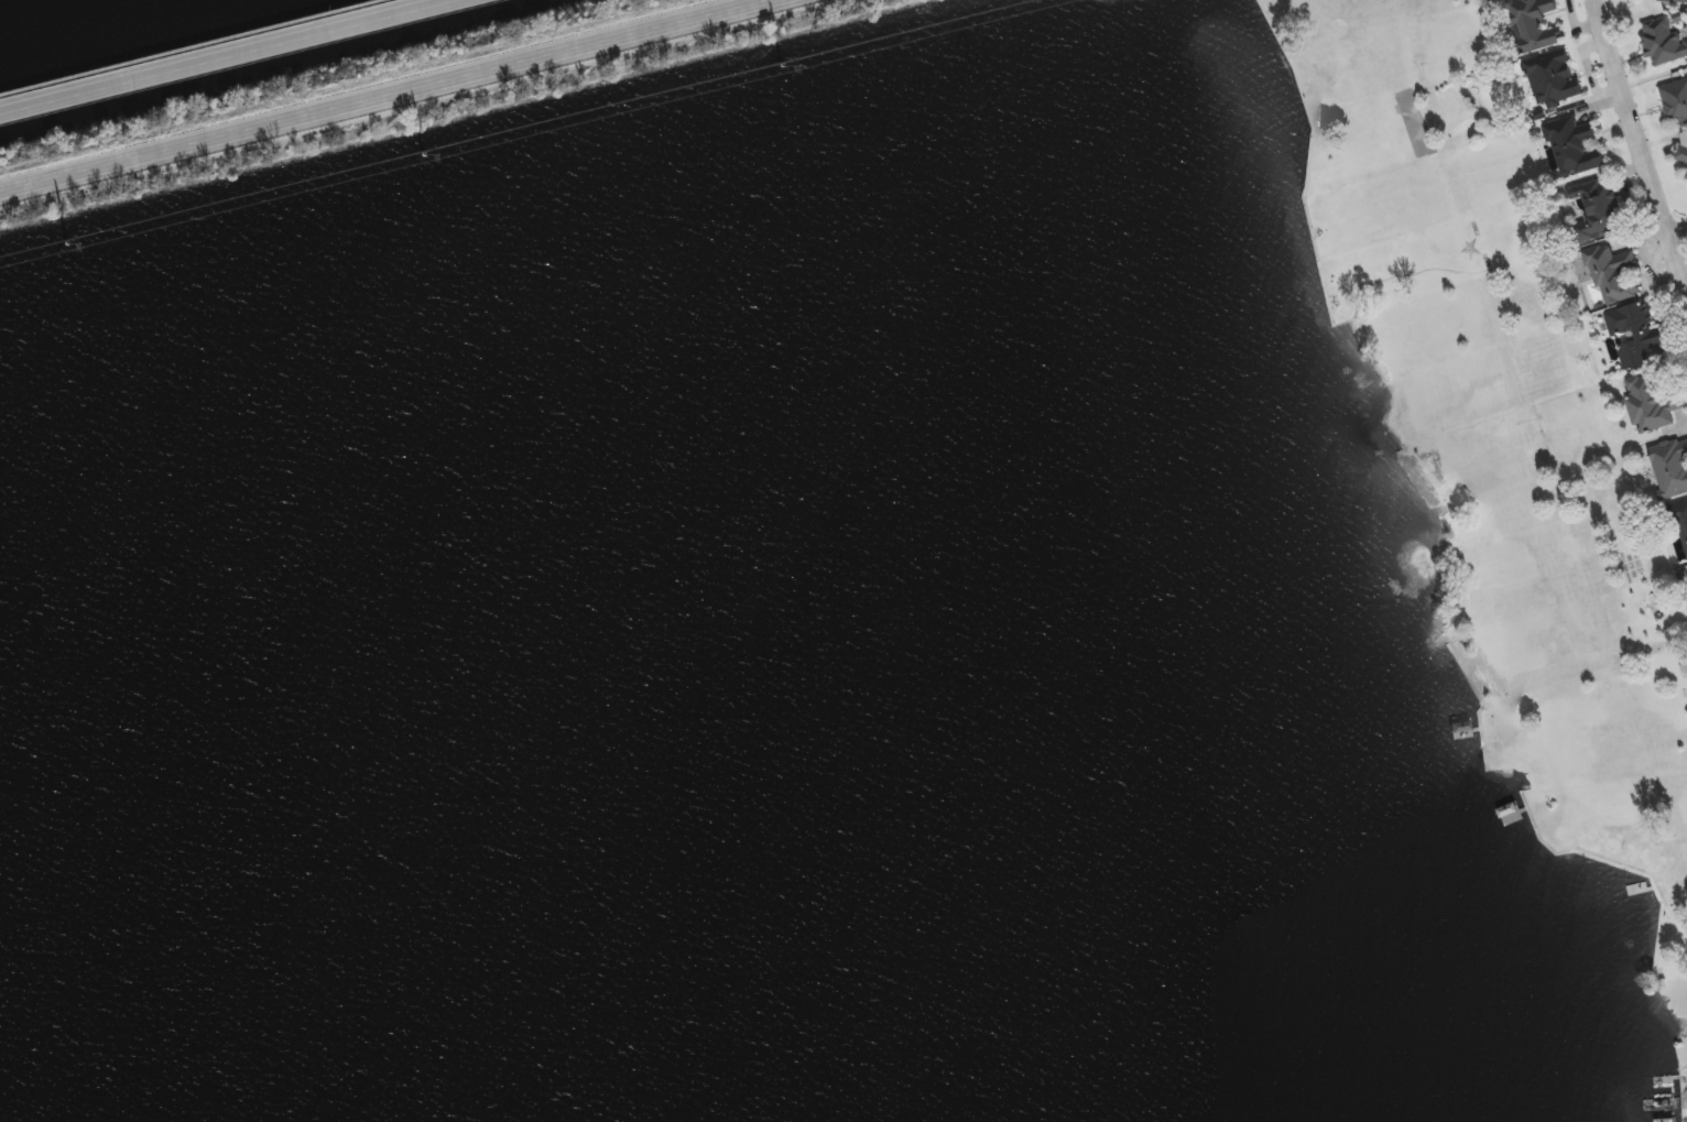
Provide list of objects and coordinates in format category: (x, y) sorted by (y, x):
building: (1674, 0)
building: (1531, 24)
building: (1662, 42)
road: (189, 46)
road: (224, 55)
power tower: (783, 67)
building: (1550, 79)
road: (378, 92)
building: (1674, 100)
road: (1640, 142)
building: (1572, 144)
building: (1680, 150)
power tower: (424, 156)
building: (1686, 175)
building: (1595, 210)
road: (1679, 232)
power tower: (67, 246)
building: (1610, 273)
building: (1632, 334)
building: (1654, 401)
building: (1669, 467)

